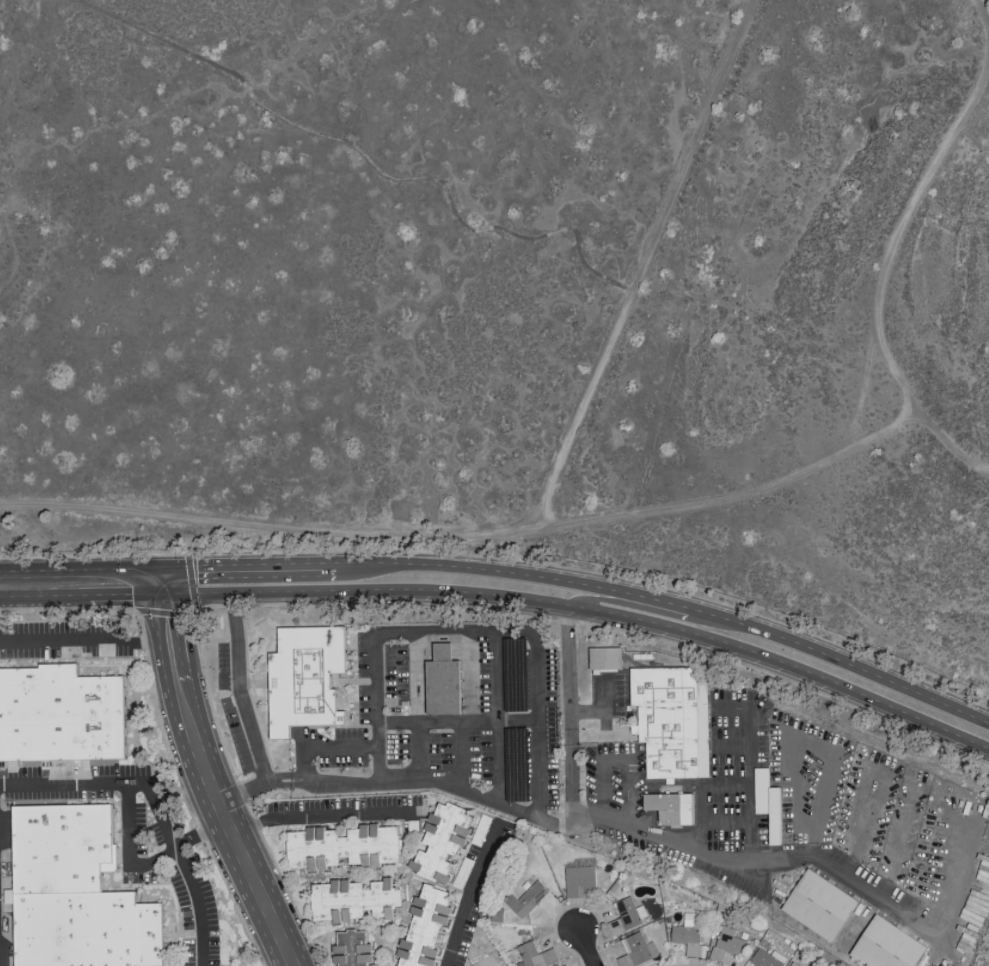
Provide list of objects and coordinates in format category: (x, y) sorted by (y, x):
road: (645, 267)
airport: (512, 291)
road: (942, 438)
road: (683, 504)
road: (249, 569)
traffic signals: (165, 588)
road: (82, 589)
road: (363, 593)
road: (672, 603)
road: (634, 607)
road: (588, 613)
road: (472, 631)
road: (86, 643)
building: (605, 657)
road: (804, 675)
building: (305, 677)
building: (442, 681)
road: (239, 692)
road: (607, 711)
building: (62, 717)
road: (497, 717)
building: (671, 720)
road: (458, 722)
road: (730, 743)
road: (811, 745)
road: (326, 746)
road: (419, 750)
road: (462, 756)
road: (620, 760)
road: (749, 766)
road: (406, 779)
road: (210, 782)
road: (702, 795)
road: (155, 804)
building: (670, 807)
road: (323, 817)
road: (727, 822)
road: (647, 832)
building: (441, 840)
building: (342, 845)
road: (128, 847)
building: (580, 881)
road: (469, 889)
building: (74, 895)
building: (353, 899)
building: (530, 899)
building: (819, 904)
building: (496, 914)
building: (624, 915)
building: (424, 927)
building: (687, 933)
building: (727, 943)
building: (886, 945)
building: (352, 948)
road: (586, 948)
building: (637, 950)
building: (536, 955)
building: (767, 958)
building: (794, 964)
building: (565, 965)

